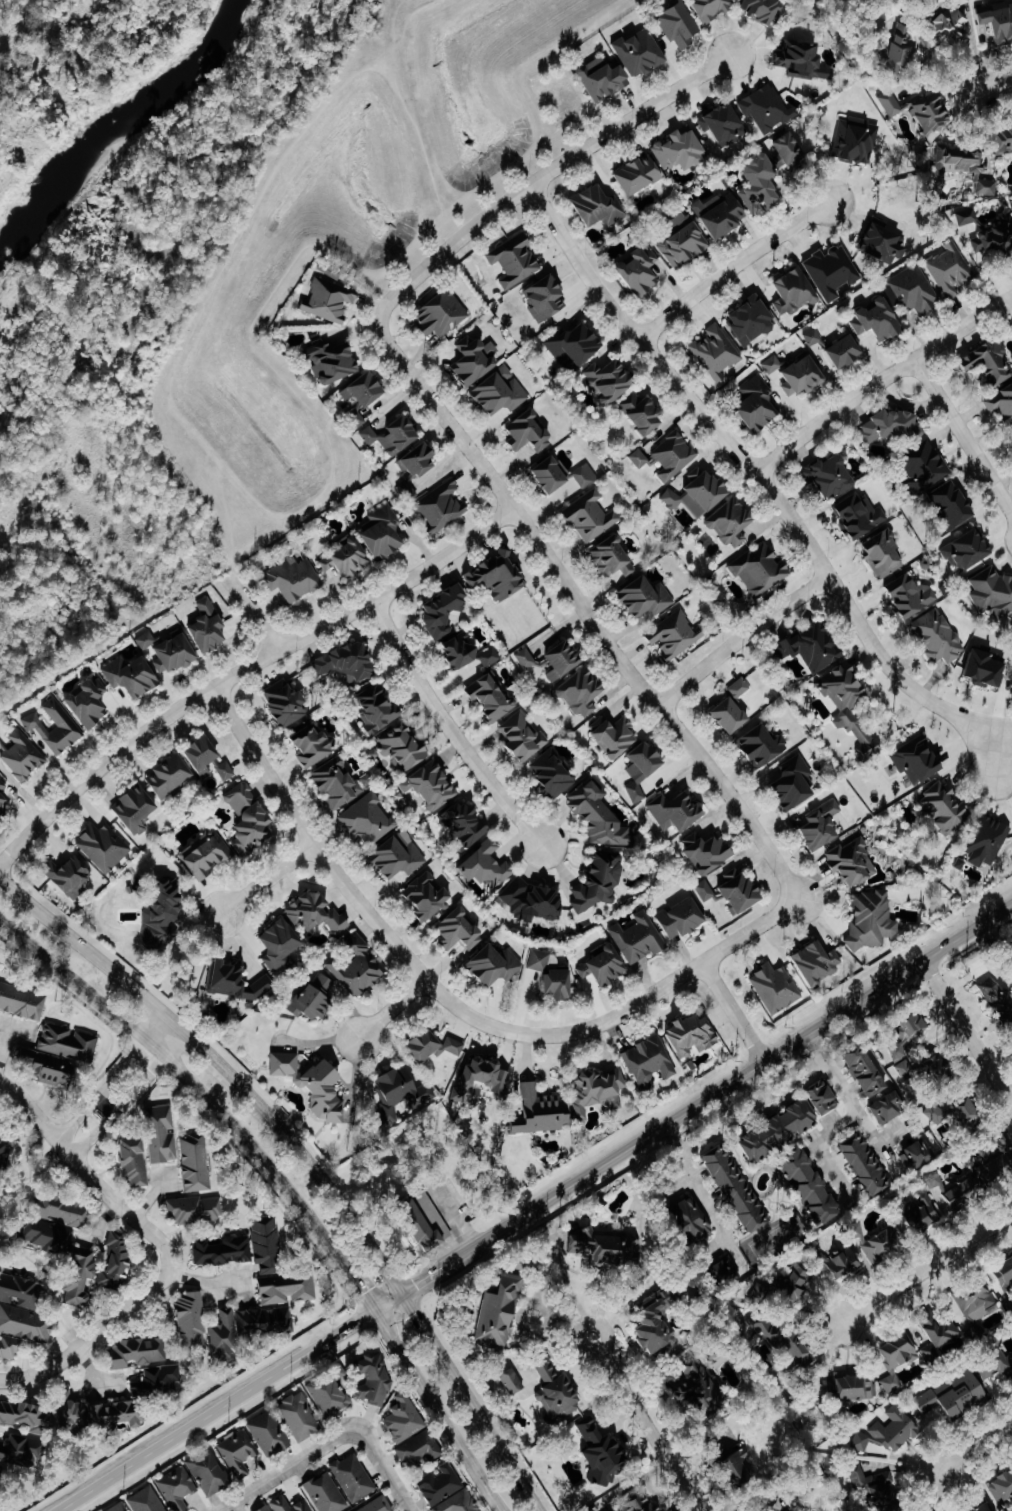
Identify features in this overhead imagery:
building: (957, 1)
building: (702, 7)
building: (758, 10)
building: (995, 20)
building: (673, 23)
building: (946, 25)
building: (635, 50)
building: (892, 53)
building: (797, 60)
building: (596, 76)
road: (991, 85)
building: (763, 107)
building: (914, 111)
building: (719, 123)
river: (116, 125)
building: (1001, 137)
building: (853, 139)
building: (783, 147)
building: (673, 149)
building: (961, 167)
building: (632, 173)
road: (535, 179)
building: (753, 182)
building: (591, 205)
building: (1010, 206)
building: (716, 213)
building: (962, 215)
building: (992, 235)
building: (678, 241)
building: (878, 242)
building: (510, 259)
building: (634, 268)
building: (947, 268)
road: (730, 269)
building: (828, 270)
building: (789, 289)
building: (908, 289)
building: (539, 296)
building: (328, 298)
building: (434, 312)
building: (872, 318)
building: (744, 319)
building: (809, 336)
building: (569, 342)
building: (838, 349)
building: (714, 351)
building: (325, 360)
building: (983, 361)
building: (467, 362)
building: (790, 372)
building: (603, 378)
road: (880, 381)
building: (358, 387)
building: (494, 390)
building: (752, 403)
building: (1000, 403)
building: (636, 412)
building: (523, 433)
building: (386, 434)
building: (1011, 436)
road: (964, 438)
building: (670, 455)
building: (636, 457)
building: (412, 460)
building: (920, 466)
building: (544, 472)
building: (582, 474)
road: (754, 474)
building: (824, 476)
building: (699, 488)
building: (404, 489)
building: (669, 497)
building: (945, 503)
building: (436, 506)
building: (854, 514)
building: (586, 515)
building: (726, 522)
building: (376, 531)
building: (961, 549)
building: (878, 553)
building: (606, 556)
building: (344, 557)
building: (756, 569)
building: (491, 574)
building: (293, 578)
building: (989, 592)
building: (906, 595)
building: (639, 596)
building: (436, 609)
road: (252, 610)
road: (589, 621)
building: (210, 626)
building: (670, 634)
building: (935, 636)
building: (147, 639)
road: (740, 639)
building: (805, 647)
building: (453, 649)
building: (176, 654)
building: (487, 654)
building: (522, 657)
building: (554, 659)
building: (343, 662)
building: (980, 669)
road: (244, 670)
building: (134, 675)
building: (736, 687)
building: (575, 690)
building: (485, 697)
building: (842, 700)
building: (91, 702)
building: (287, 702)
building: (372, 707)
building: (722, 714)
building: (33, 722)
road: (1008, 727)
road: (448, 732)
building: (608, 735)
building: (517, 736)
building: (313, 744)
building: (755, 744)
building: (397, 747)
building: (205, 752)
road: (1000, 755)
building: (24, 756)
building: (913, 758)
building: (636, 768)
building: (227, 770)
building: (171, 775)
building: (547, 775)
building: (340, 782)
building: (788, 782)
building: (426, 785)
building: (938, 806)
building: (137, 808)
building: (670, 811)
building: (595, 815)
building: (368, 818)
building: (250, 819)
building: (459, 825)
building: (815, 825)
building: (983, 840)
building: (104, 846)
building: (702, 851)
building: (207, 854)
building: (398, 857)
building: (847, 862)
building: (480, 864)
building: (71, 874)
road: (268, 880)
building: (594, 880)
building: (702, 889)
building: (732, 890)
road: (351, 895)
building: (428, 896)
building: (527, 901)
building: (318, 912)
building: (164, 917)
building: (674, 918)
building: (867, 918)
building: (461, 930)
building: (634, 938)
building: (282, 945)
building: (990, 952)
building: (539, 960)
building: (812, 962)
building: (495, 964)
building: (359, 966)
building: (598, 967)
road: (678, 979)
building: (238, 982)
building: (558, 984)
building: (771, 986)
building: (319, 998)
building: (23, 1001)
road: (390, 1010)
road: (732, 1013)
building: (904, 1031)
road: (968, 1033)
building: (685, 1035)
building: (70, 1042)
building: (436, 1045)
road: (134, 1056)
building: (645, 1059)
building: (52, 1067)
building: (901, 1069)
road: (150, 1072)
building: (859, 1072)
building: (482, 1077)
road: (191, 1081)
building: (315, 1083)
building: (600, 1088)
building: (402, 1092)
building: (816, 1096)
road: (845, 1096)
road: (106, 1105)
road: (754, 1106)
building: (955, 1106)
building: (879, 1107)
road: (691, 1108)
building: (544, 1111)
building: (933, 1112)
road: (77, 1118)
building: (771, 1129)
building: (163, 1133)
road: (93, 1135)
road: (889, 1139)
road: (819, 1147)
building: (5, 1152)
building: (914, 1152)
building: (995, 1157)
road: (309, 1160)
building: (137, 1161)
building: (197, 1163)
building: (859, 1163)
road: (82, 1168)
road: (697, 1179)
building: (801, 1184)
building: (945, 1187)
building: (731, 1188)
building: (62, 1209)
building: (196, 1209)
building: (915, 1212)
road: (454, 1217)
building: (691, 1218)
building: (431, 1224)
building: (866, 1241)
building: (608, 1247)
building: (813, 1255)
building: (261, 1262)
building: (839, 1262)
building: (118, 1263)
building: (87, 1265)
building: (727, 1270)
road: (924, 1270)
building: (1001, 1274)
building: (791, 1285)
road: (571, 1290)
traffic signals: (402, 1293)
road: (360, 1295)
building: (23, 1308)
building: (501, 1310)
traffic signals: (373, 1314)
building: (658, 1319)
building: (192, 1320)
building: (934, 1327)
building: (245, 1329)
road: (97, 1331)
building: (788, 1342)
building: (10, 1348)
building: (926, 1351)
building: (140, 1352)
building: (893, 1357)
building: (996, 1367)
road: (623, 1379)
building: (375, 1380)
building: (511, 1383)
building: (852, 1386)
building: (699, 1389)
building: (559, 1392)
building: (330, 1395)
building: (947, 1398)
building: (122, 1403)
road: (215, 1412)
road: (434, 1412)
building: (25, 1417)
building: (300, 1417)
building: (405, 1418)
building: (886, 1431)
building: (270, 1434)
building: (420, 1450)
building: (20, 1452)
building: (239, 1452)
building: (605, 1452)
road: (971, 1453)
building: (742, 1467)
road: (289, 1468)
road: (382, 1468)
building: (210, 1472)
building: (354, 1477)
building: (442, 1483)
building: (869, 1484)
building: (1001, 1485)
building: (178, 1488)
building: (326, 1493)
building: (148, 1500)
building: (459, 1503)
building: (281, 1504)
building: (379, 1505)
building: (646, 1505)
building: (120, 1507)
building: (979, 1507)
building: (266, 1508)

